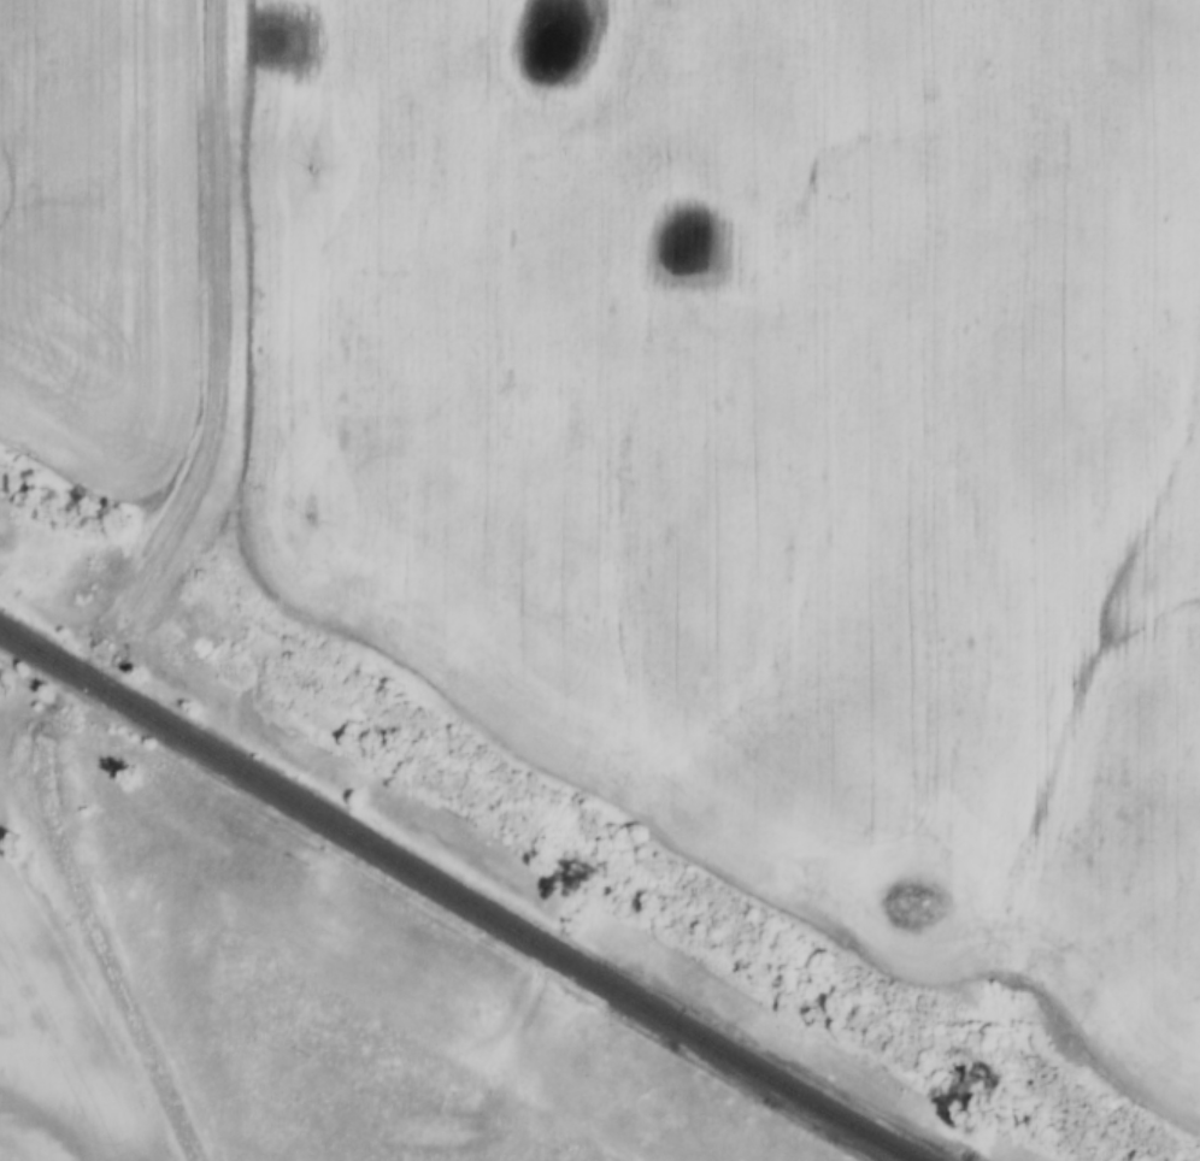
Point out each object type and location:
road: (223, 317)
railway: (453, 898)
road: (111, 950)

